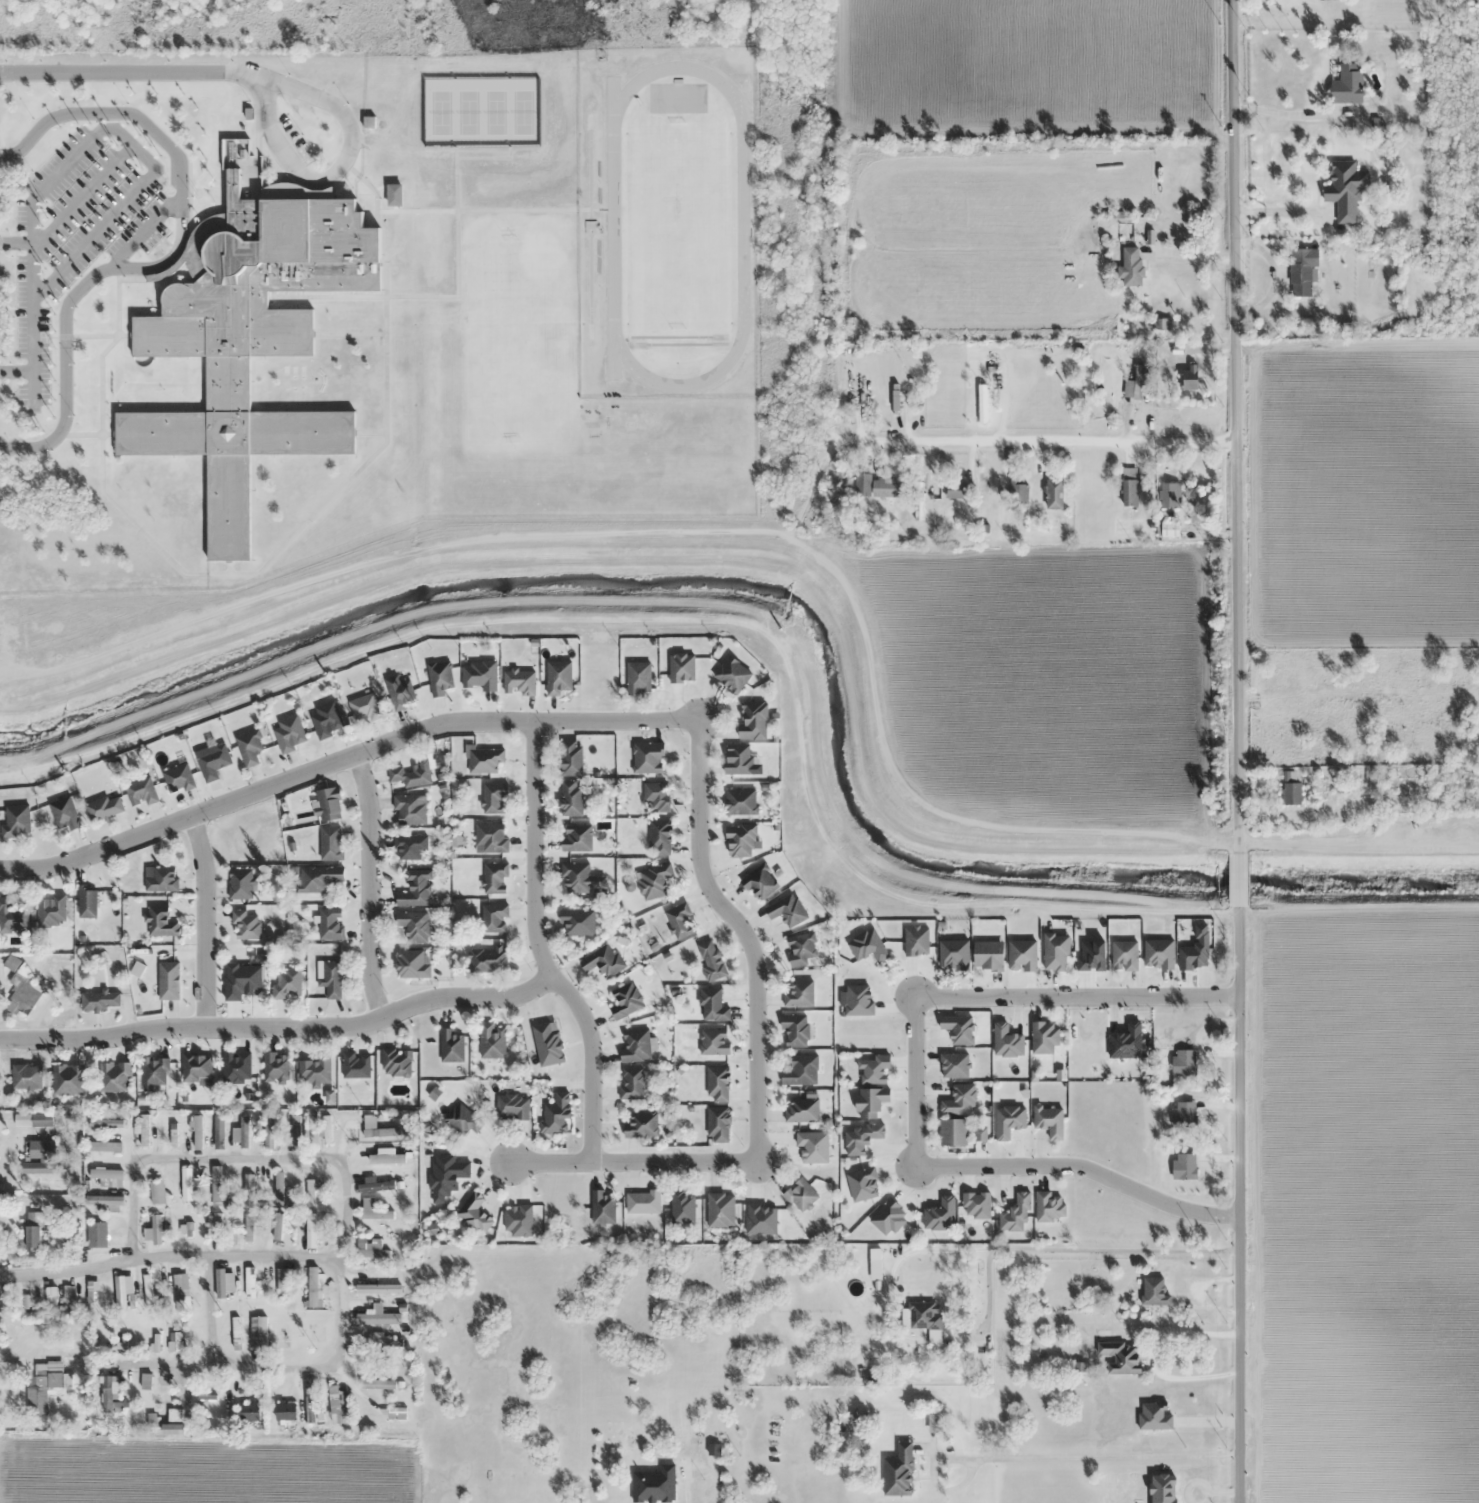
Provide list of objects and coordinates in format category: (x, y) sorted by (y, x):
road: (128, 73)
building: (1347, 84)
park: (439, 111)
park: (466, 111)
park: (494, 111)
park: (520, 111)
road: (121, 137)
road: (485, 158)
road: (336, 168)
road: (367, 186)
building: (1346, 190)
road: (80, 199)
road: (525, 210)
track: (741, 225)
park: (676, 226)
road: (140, 233)
road: (15, 243)
road: (169, 259)
building: (1131, 266)
building: (1300, 272)
road: (131, 279)
road: (435, 297)
building: (1162, 323)
road: (348, 335)
road: (96, 336)
building: (249, 338)
road: (31, 357)
road: (15, 373)
building: (1189, 377)
building: (1135, 384)
building: (987, 407)
road: (1029, 428)
road: (369, 433)
road: (85, 435)
building: (1129, 486)
building: (876, 487)
building: (958, 490)
crop: (1367, 492)
building: (1019, 494)
building: (1054, 494)
building: (1169, 495)
road: (228, 568)
road: (229, 575)
building: (1303, 665)
building: (681, 668)
building: (732, 674)
building: (480, 676)
building: (439, 678)
building: (559, 678)
building: (638, 679)
building: (519, 682)
building: (398, 693)
building: (364, 708)
building: (326, 719)
building: (753, 719)
building: (289, 734)
building: (249, 747)
road: (1234, 751)
road: (343, 758)
building: (570, 758)
building: (647, 758)
building: (738, 758)
building: (483, 760)
building: (213, 762)
building: (413, 774)
building: (178, 779)
building: (1290, 789)
building: (141, 792)
building: (657, 797)
building: (494, 798)
building: (571, 798)
building: (740, 801)
building: (328, 804)
building: (104, 808)
building: (410, 810)
building: (64, 813)
building: (16, 821)
building: (659, 837)
building: (490, 838)
building: (576, 838)
building: (740, 842)
building: (330, 843)
building: (410, 847)
building: (318, 877)
building: (160, 878)
building: (495, 878)
building: (579, 878)
building: (653, 882)
building: (760, 882)
building: (240, 883)
road: (370, 885)
building: (416, 889)
building: (87, 901)
building: (51, 910)
building: (787, 910)
building: (12, 916)
building: (494, 917)
building: (679, 920)
building: (160, 922)
road: (204, 922)
building: (578, 922)
building: (245, 924)
building: (330, 924)
building: (414, 925)
road: (744, 934)
building: (916, 941)
road: (539, 948)
building: (801, 949)
building: (1056, 951)
building: (988, 955)
building: (1124, 955)
building: (487, 959)
building: (711, 959)
building: (602, 961)
building: (11, 962)
building: (332, 978)
building: (168, 980)
building: (287, 983)
building: (24, 990)
building: (797, 992)
road: (1075, 995)
building: (100, 1000)
building: (626, 1001)
building: (712, 1004)
building: (958, 1028)
road: (280, 1029)
building: (795, 1029)
building: (492, 1040)
building: (714, 1042)
building: (1126, 1042)
building: (451, 1046)
building: (635, 1046)
building: (396, 1062)
building: (1183, 1062)
building: (356, 1065)
building: (953, 1065)
building: (235, 1066)
building: (275, 1066)
building: (196, 1068)
building: (874, 1069)
building: (314, 1070)
building: (800, 1070)
building: (154, 1072)
building: (26, 1076)
building: (114, 1076)
building: (68, 1079)
road: (913, 1082)
building: (631, 1084)
building: (717, 1084)
building: (870, 1101)
building: (512, 1107)
building: (801, 1110)
building: (1184, 1112)
building: (557, 1114)
building: (462, 1120)
building: (1049, 1121)
building: (105, 1123)
building: (717, 1124)
building: (641, 1125)
building: (326, 1129)
building: (294, 1130)
building: (243, 1131)
building: (378, 1131)
building: (197, 1132)
building: (269, 1132)
building: (959, 1132)
building: (173, 1133)
building: (219, 1135)
building: (862, 1137)
building: (103, 1146)
road: (237, 1152)
building: (42, 1157)
building: (376, 1159)
road: (634, 1163)
building: (1184, 1166)
road: (1079, 1168)
building: (106, 1175)
building: (446, 1175)
building: (186, 1184)
building: (216, 1185)
building: (377, 1185)
building: (278, 1188)
building: (247, 1190)
building: (153, 1193)
building: (309, 1193)
building: (800, 1195)
building: (104, 1200)
building: (642, 1202)
building: (976, 1204)
crop: (1362, 1204)
building: (602, 1207)
building: (682, 1207)
building: (1049, 1207)
building: (373, 1210)
building: (720, 1210)
building: (474, 1213)
building: (1016, 1214)
building: (518, 1220)
building: (311, 1225)
building: (215, 1226)
building: (276, 1226)
building: (248, 1227)
building: (156, 1229)
building: (96, 1234)
building: (36, 1236)
building: (371, 1249)
road: (333, 1251)
building: (874, 1264)
building: (284, 1278)
building: (249, 1282)
building: (219, 1285)
building: (313, 1286)
building: (378, 1288)
building: (179, 1289)
building: (1154, 1292)
road: (206, 1306)
building: (924, 1315)
building: (377, 1318)
building: (261, 1333)
building: (1119, 1357)
building: (145, 1381)
building: (377, 1384)
building: (109, 1392)
building: (309, 1401)
building: (337, 1405)
building: (248, 1411)
building: (285, 1411)
building: (384, 1411)
building: (171, 1429)
road: (1045, 1457)
building: (898, 1471)
building: (654, 1484)

